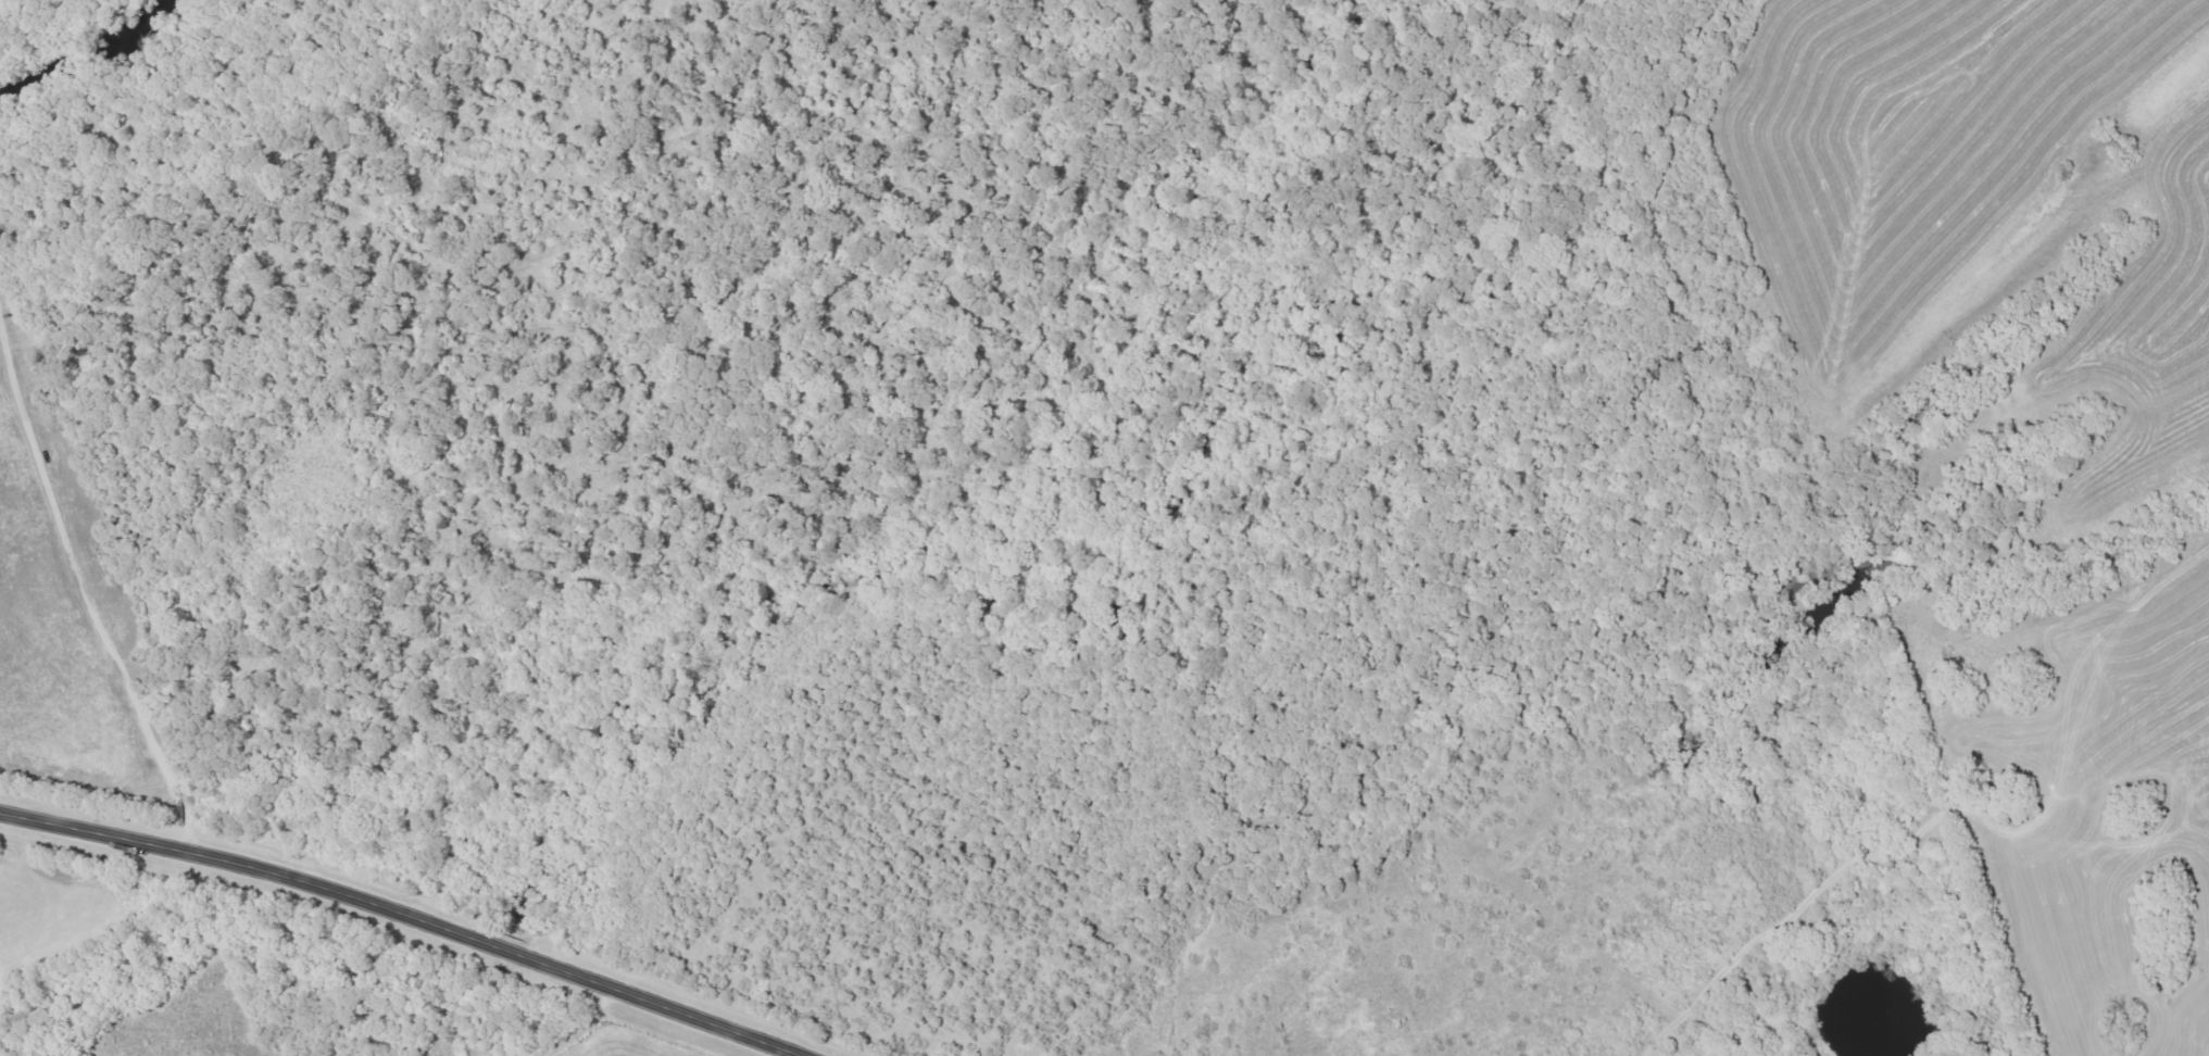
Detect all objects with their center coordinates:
road: (407, 916)

